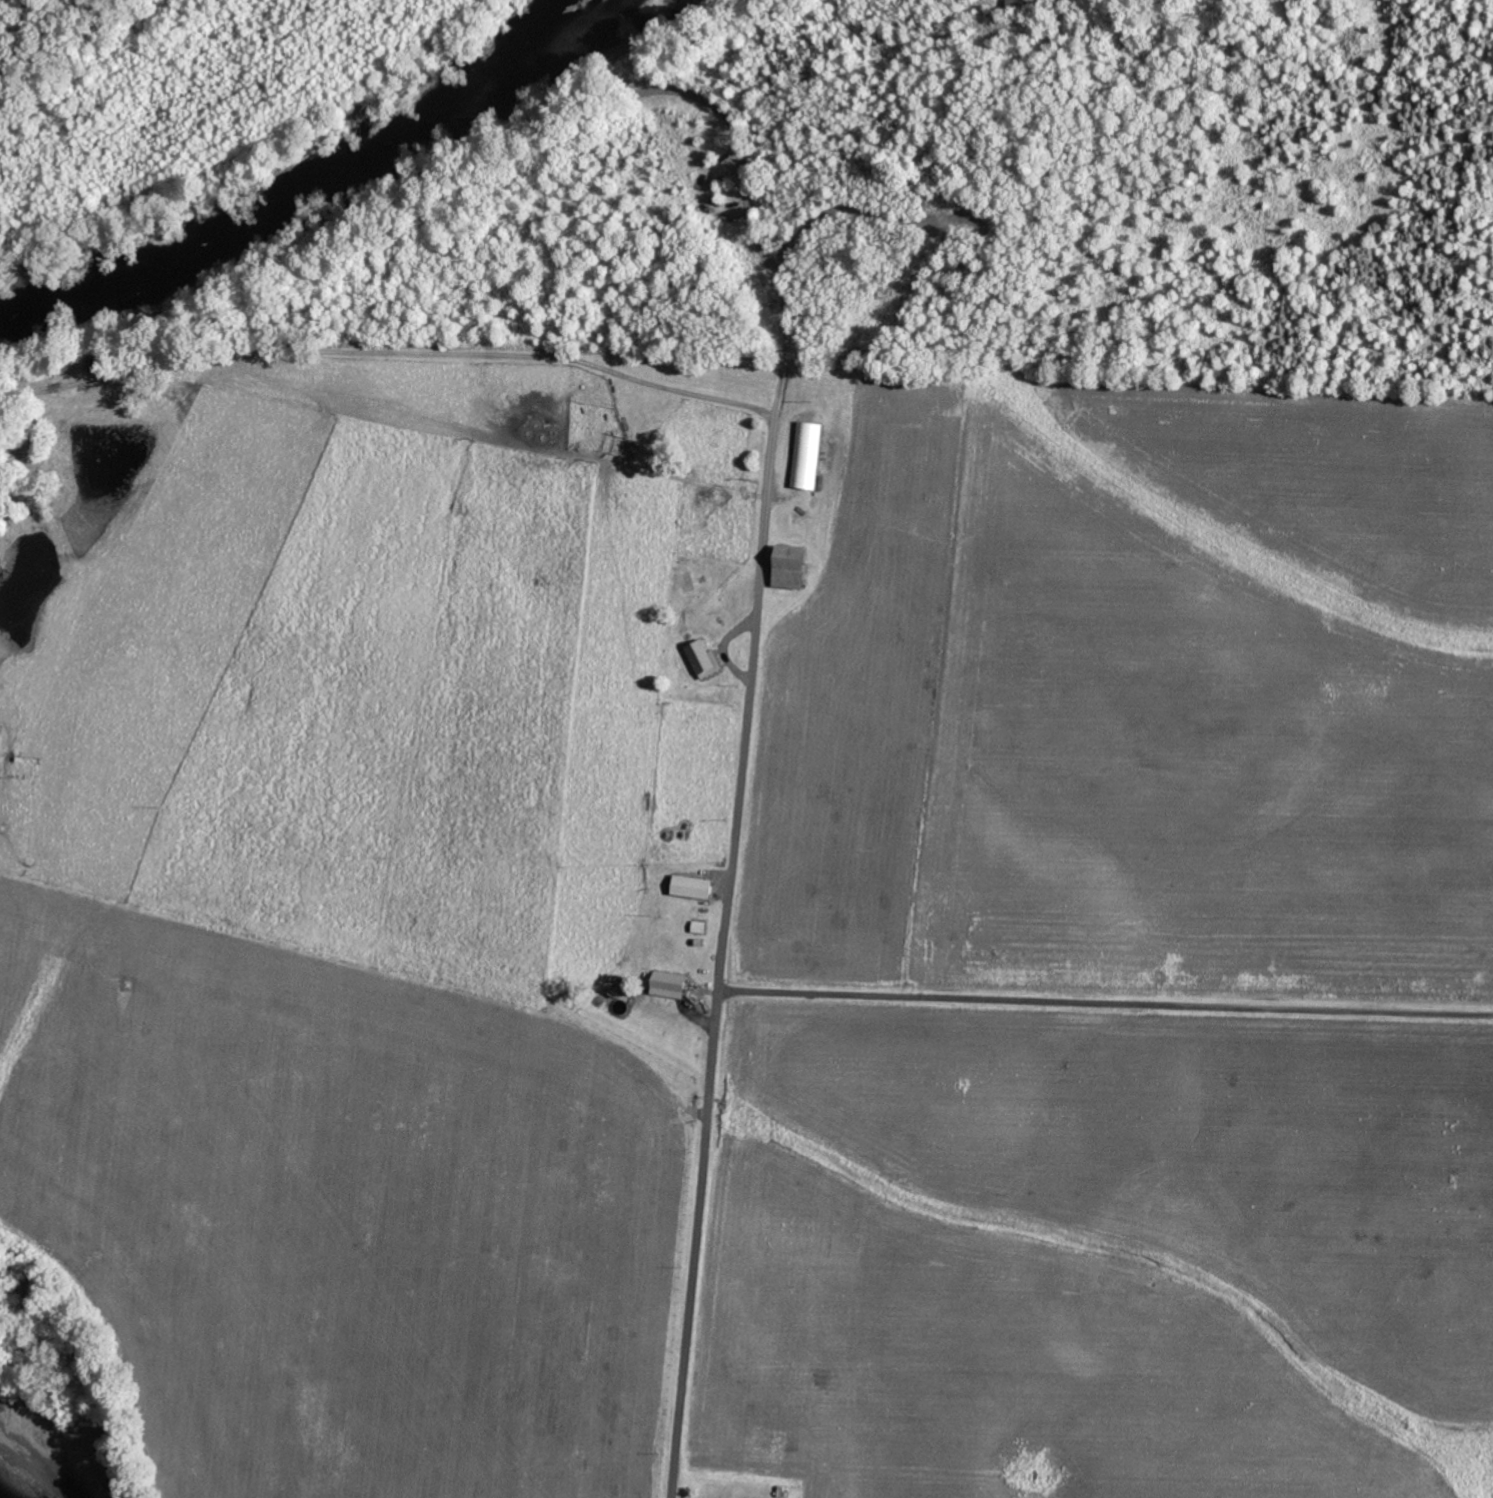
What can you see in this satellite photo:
river: (333, 155)
road: (738, 222)
building: (808, 453)
building: (794, 566)
building: (704, 656)
building: (697, 886)
road: (722, 962)
building: (670, 988)
road: (1106, 1002)
river: (30, 1476)

